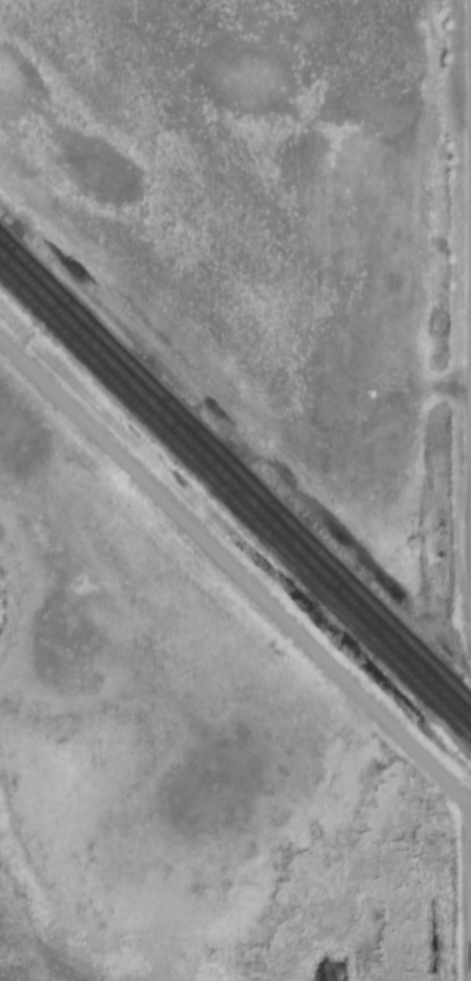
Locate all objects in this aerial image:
railway: (235, 466)
railway: (235, 485)
railway: (235, 499)
road: (235, 570)
road: (468, 886)

